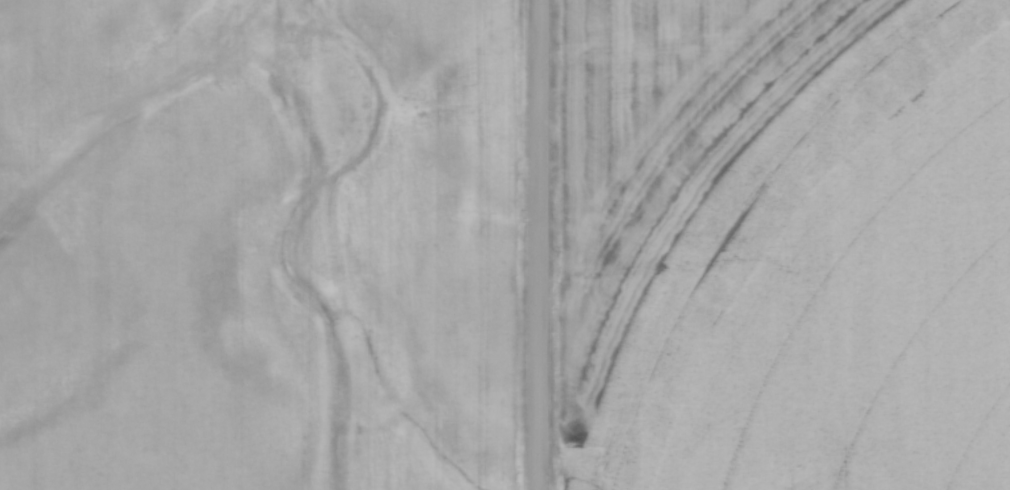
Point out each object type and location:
road: (540, 245)

